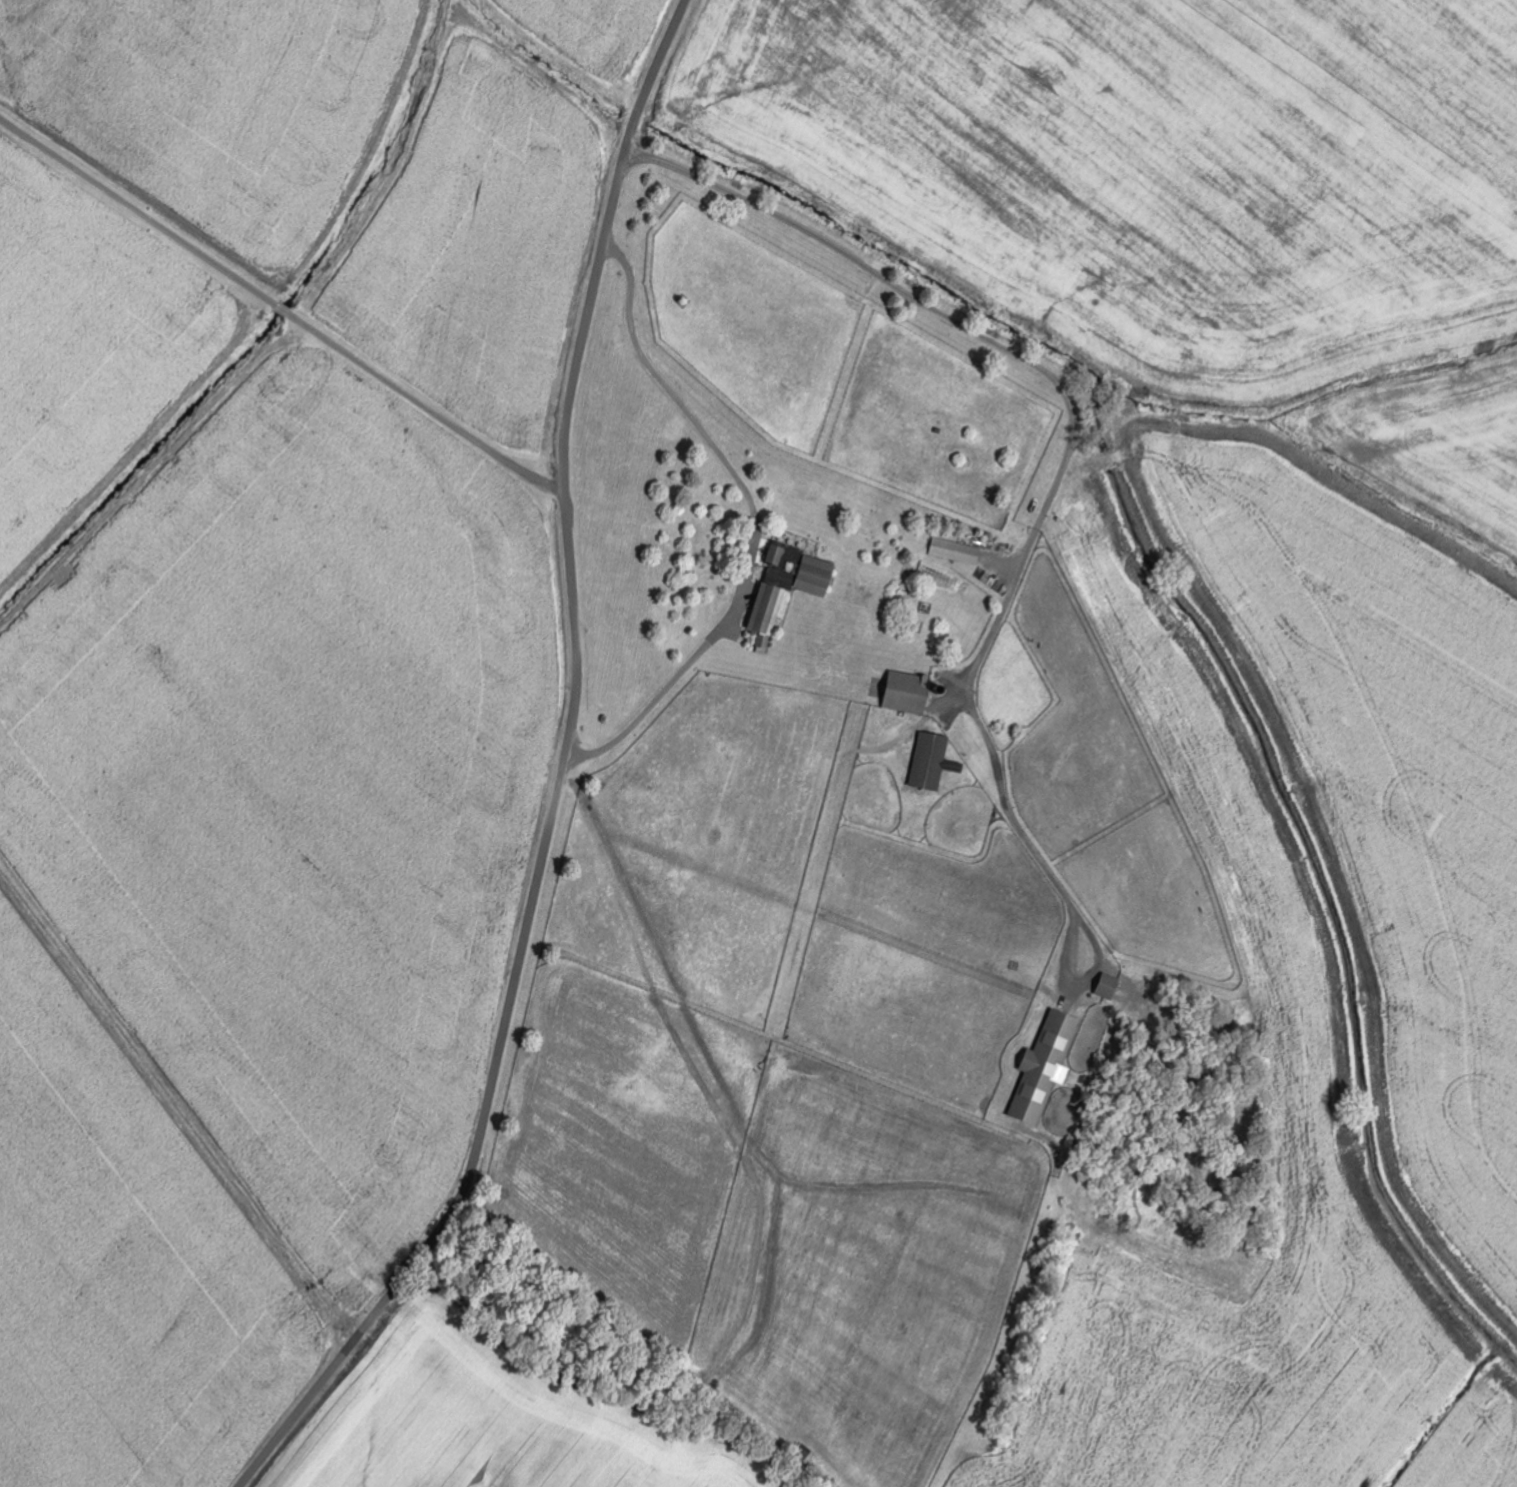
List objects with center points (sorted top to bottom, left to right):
road: (281, 306)
road: (1052, 497)
road: (756, 520)
building: (956, 552)
building: (776, 554)
building: (815, 575)
building: (767, 614)
building: (908, 693)
building: (930, 761)
road: (560, 777)
building: (1108, 986)
building: (1045, 1067)

